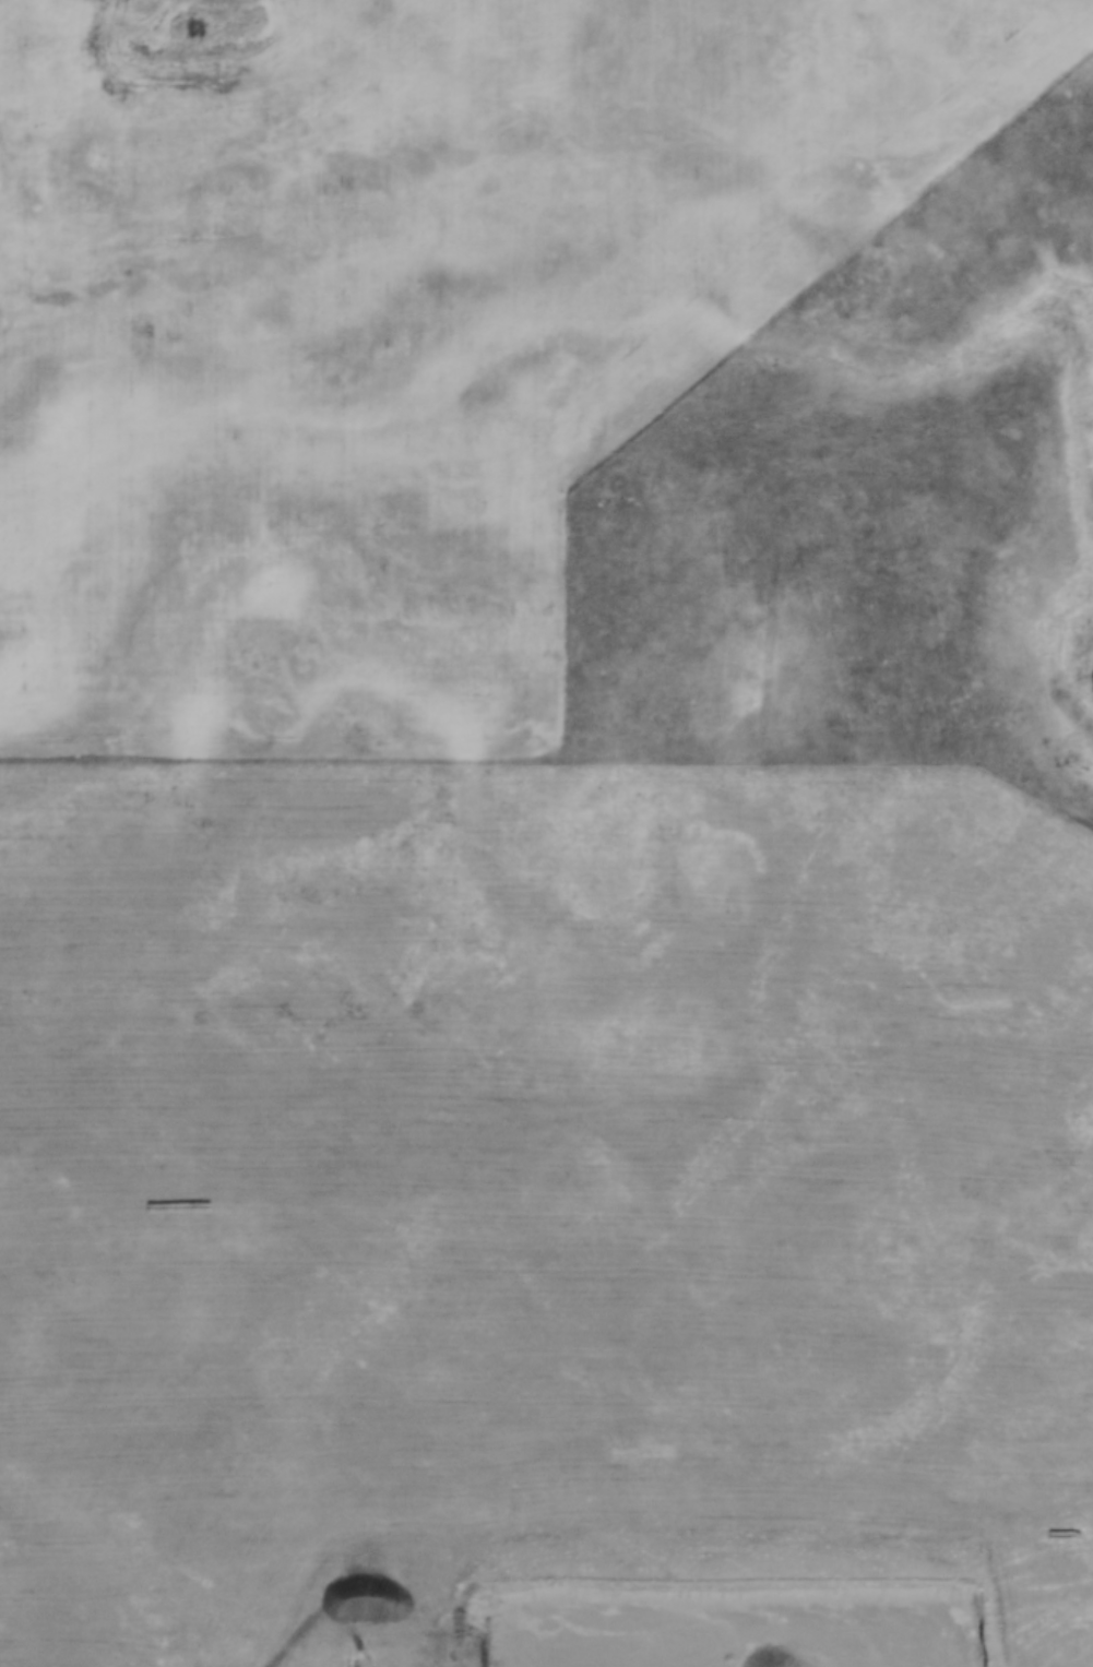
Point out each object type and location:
building: (941, 1468)
quarry: (737, 1645)

